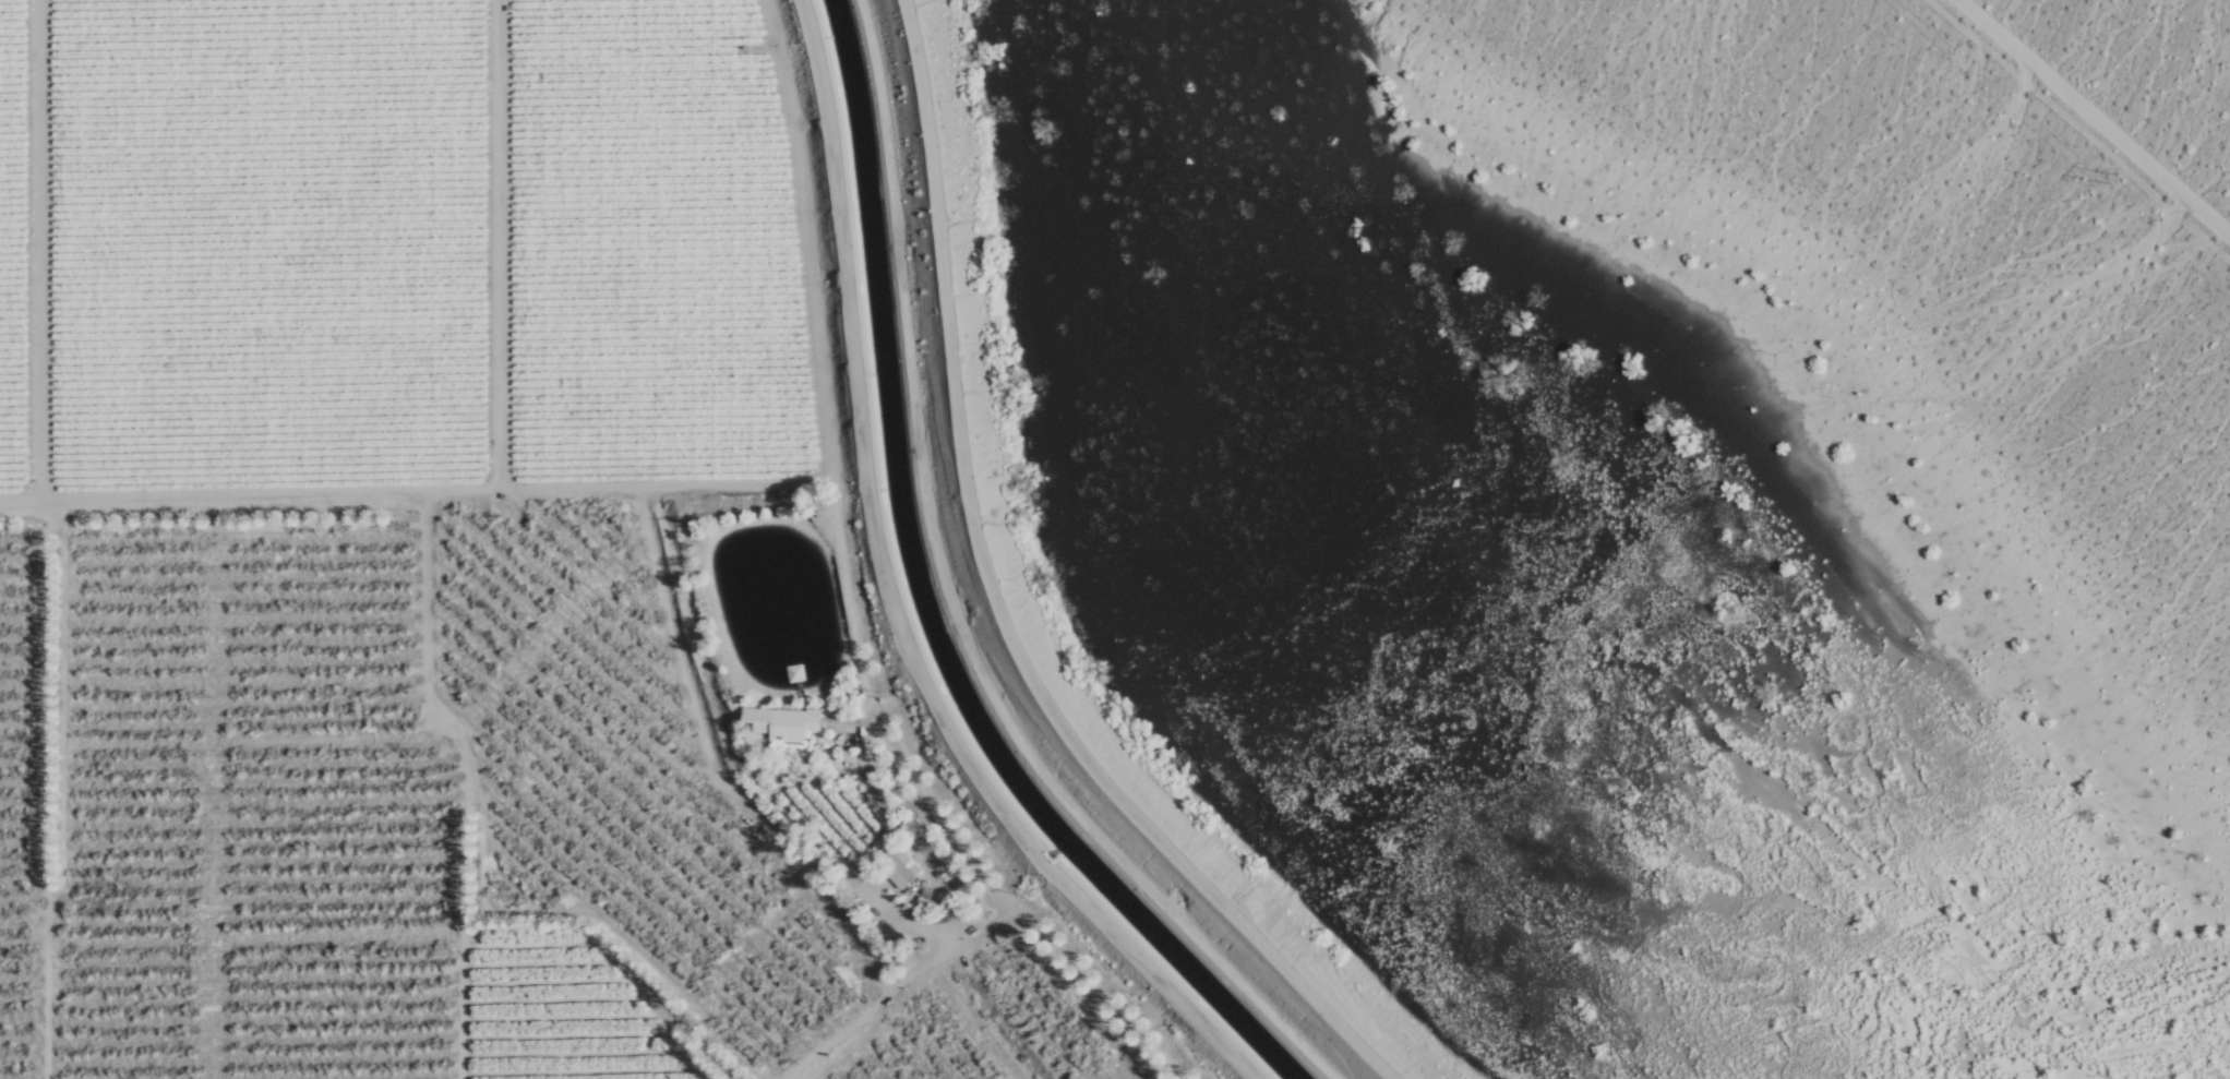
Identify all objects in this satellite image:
road: (2100, 111)
power tower: (2121, 181)
road: (895, 601)
building: (902, 867)

